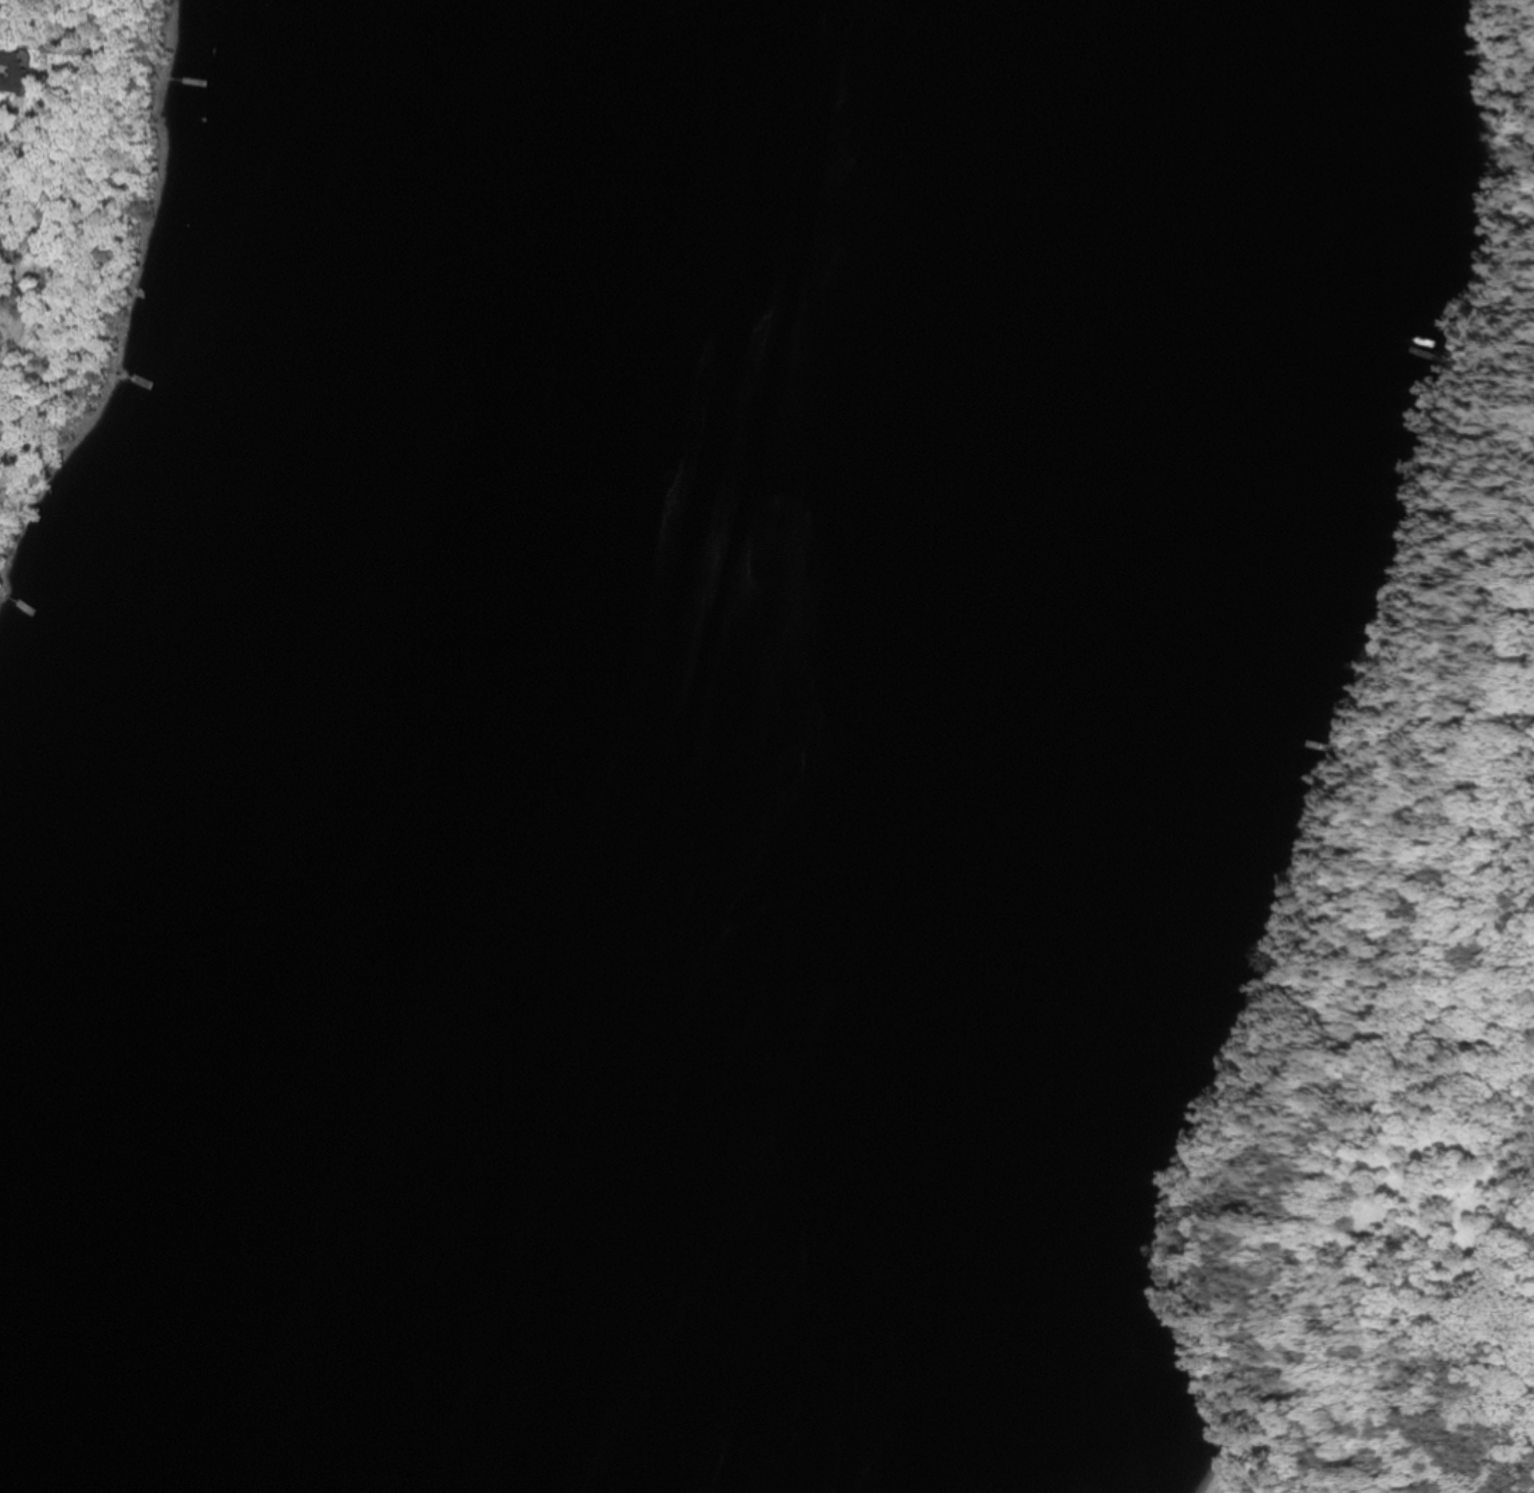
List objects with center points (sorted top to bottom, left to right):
building: (13, 70)
river: (731, 784)

